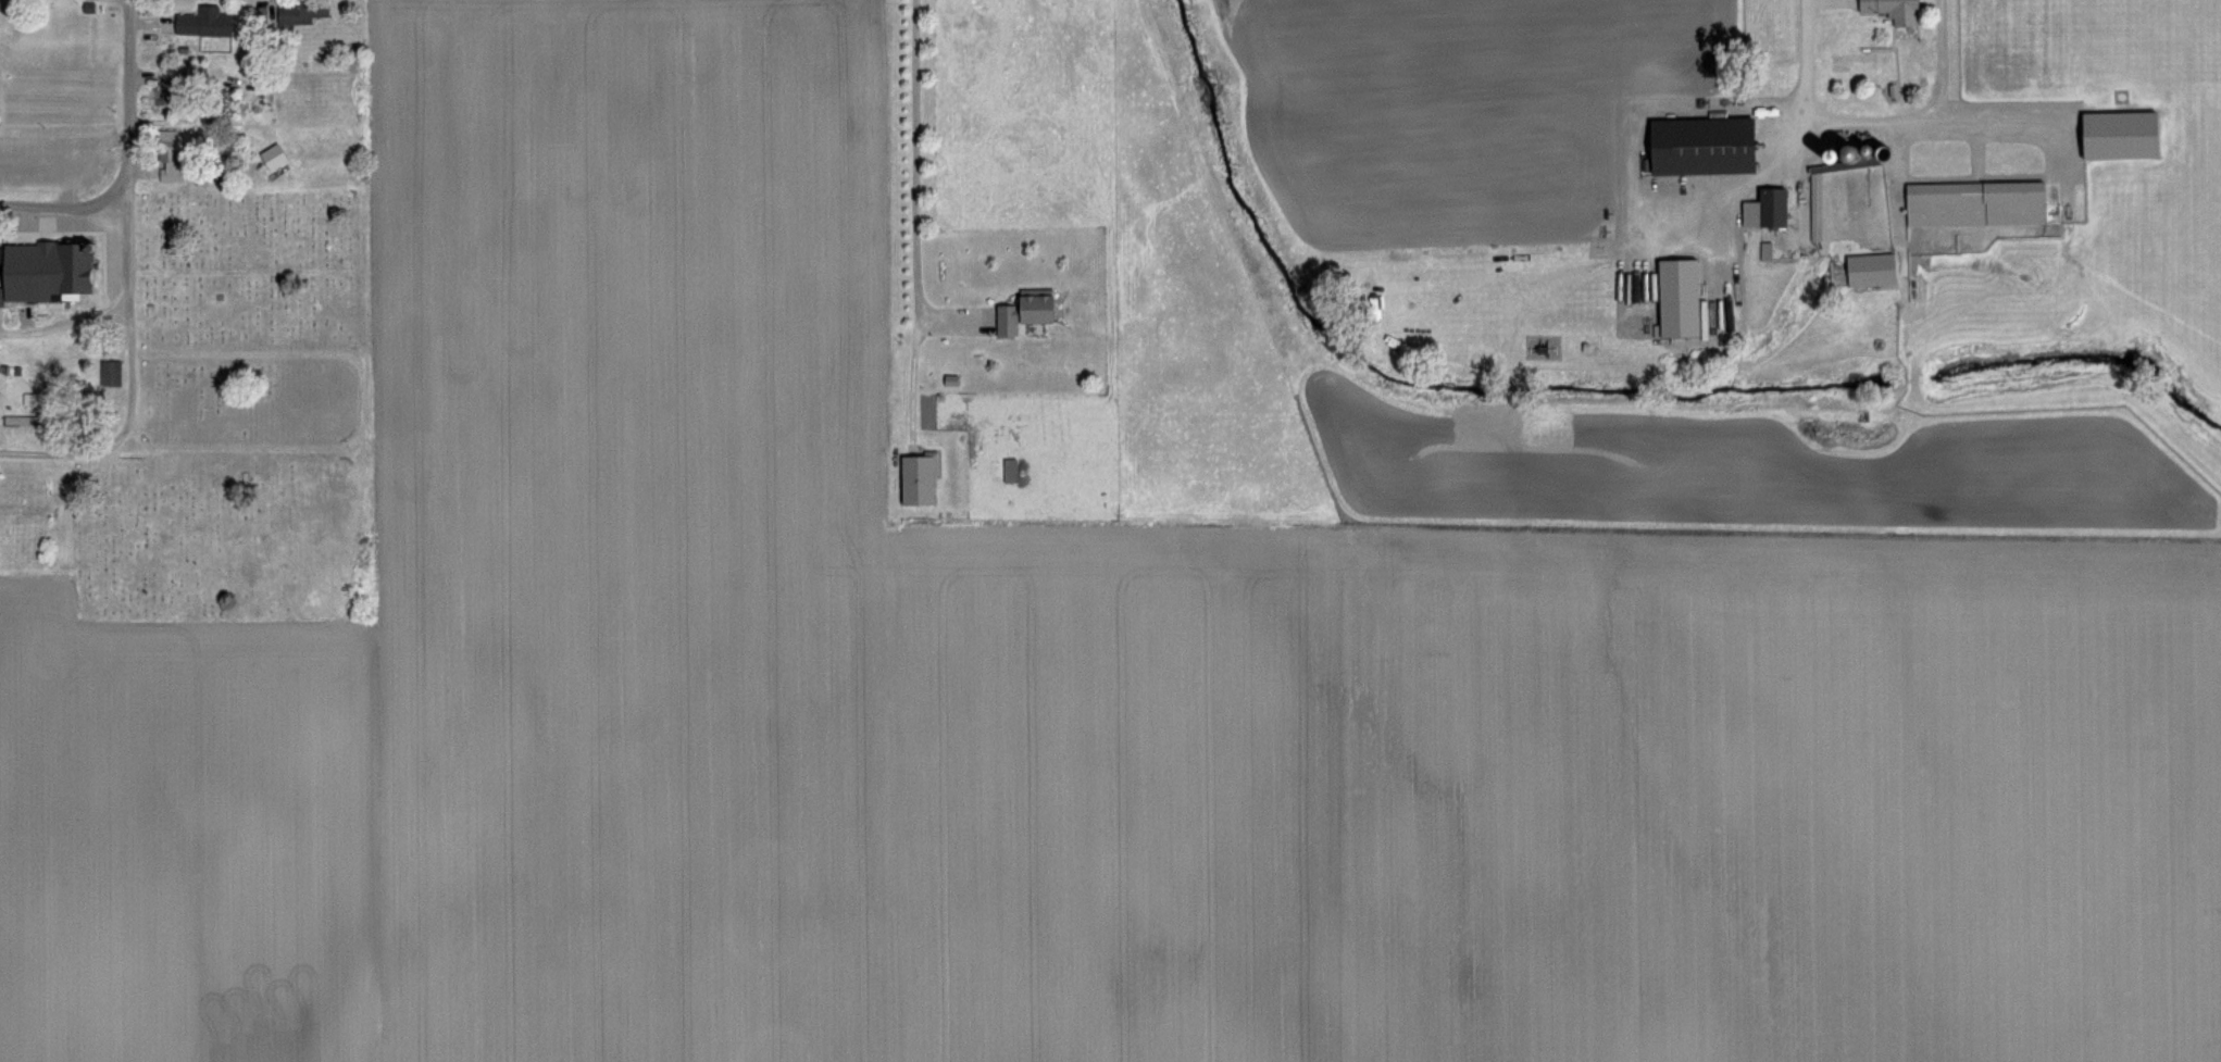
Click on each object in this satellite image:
building: (1894, 10)
building: (301, 14)
building: (204, 24)
building: (163, 98)
road: (1861, 121)
building: (1704, 147)
road: (124, 155)
building: (171, 157)
building: (83, 161)
road: (919, 183)
building: (1975, 187)
road: (62, 212)
building: (0, 255)
building: (73, 272)
building: (1, 297)
building: (1036, 305)
building: (1007, 321)
road: (63, 325)
building: (111, 374)
building: (21, 422)
road: (120, 437)
building: (1010, 471)
building: (919, 479)

